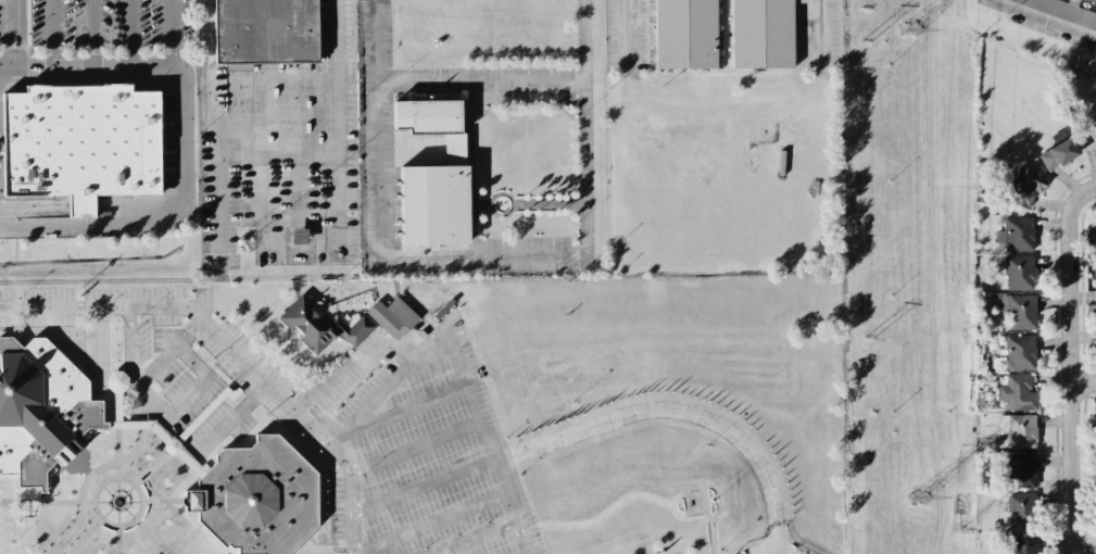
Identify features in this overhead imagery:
building: (1063, 11)
road: (14, 16)
road: (1044, 18)
power tower: (908, 29)
road: (8, 33)
road: (90, 33)
road: (130, 33)
building: (265, 33)
building: (761, 33)
building: (685, 34)
road: (820, 36)
road: (627, 37)
power tower: (864, 40)
road: (16, 49)
road: (49, 56)
road: (109, 65)
road: (481, 84)
building: (428, 116)
building: (78, 144)
building: (1057, 154)
building: (1023, 186)
road: (1089, 188)
road: (188, 190)
road: (221, 192)
building: (433, 204)
fountain: (502, 204)
building: (1016, 234)
building: (299, 236)
road: (288, 247)
road: (930, 249)
building: (1095, 255)
road: (483, 257)
building: (1019, 273)
street lamp: (18, 298)
building: (1094, 299)
building: (443, 307)
building: (1019, 311)
building: (392, 315)
street lamp: (140, 317)
street lamp: (92, 318)
building: (324, 323)
building: (1095, 329)
power tower: (868, 339)
road: (285, 343)
street lamp: (117, 345)
street lamp: (200, 345)
road: (235, 351)
building: (1016, 353)
road: (168, 355)
road: (228, 360)
road: (352, 361)
road: (235, 365)
road: (263, 365)
road: (1070, 369)
road: (230, 377)
building: (117, 379)
road: (136, 379)
road: (249, 379)
road: (1083, 382)
road: (116, 383)
street lamp: (231, 383)
road: (117, 387)
road: (385, 387)
building: (1017, 392)
road: (190, 394)
road: (249, 395)
street lamp: (572, 401)
road: (141, 402)
road: (401, 412)
road: (677, 412)
building: (39, 413)
street lamp: (276, 420)
road: (227, 421)
road: (123, 423)
road: (142, 423)
road: (118, 424)
road: (188, 429)
building: (1019, 430)
road: (486, 444)
building: (1095, 444)
street lamp: (707, 445)
road: (175, 448)
road: (415, 448)
road: (300, 454)
road: (78, 462)
road: (118, 462)
street lamp: (137, 468)
building: (1021, 470)
road: (118, 471)
road: (342, 473)
road: (90, 474)
road: (90, 475)
road: (99, 481)
road: (958, 482)
road: (423, 486)
building: (256, 498)
power tower: (918, 499)
road: (718, 500)
road: (161, 501)
road: (81, 502)
road: (90, 502)
road: (39, 503)
road: (706, 504)
road: (672, 507)
road: (331, 508)
building: (1021, 509)
road: (7, 515)
road: (42, 519)
road: (599, 519)
road: (14, 520)
road: (193, 520)
street lamp: (87, 521)
road: (105, 521)
road: (429, 521)
road: (7, 525)
power tower: (958, 527)
road: (7, 533)
road: (84, 536)
road: (153, 536)
road: (469, 536)
road: (119, 539)
road: (188, 540)
road: (213, 541)
street lamp: (11, 542)
road: (342, 543)
building: (1022, 543)
road: (202, 544)
road: (317, 544)
park: (478, 545)
road: (56, 547)
road: (713, 550)
street lamp: (720, 551)
road: (61, 552)

